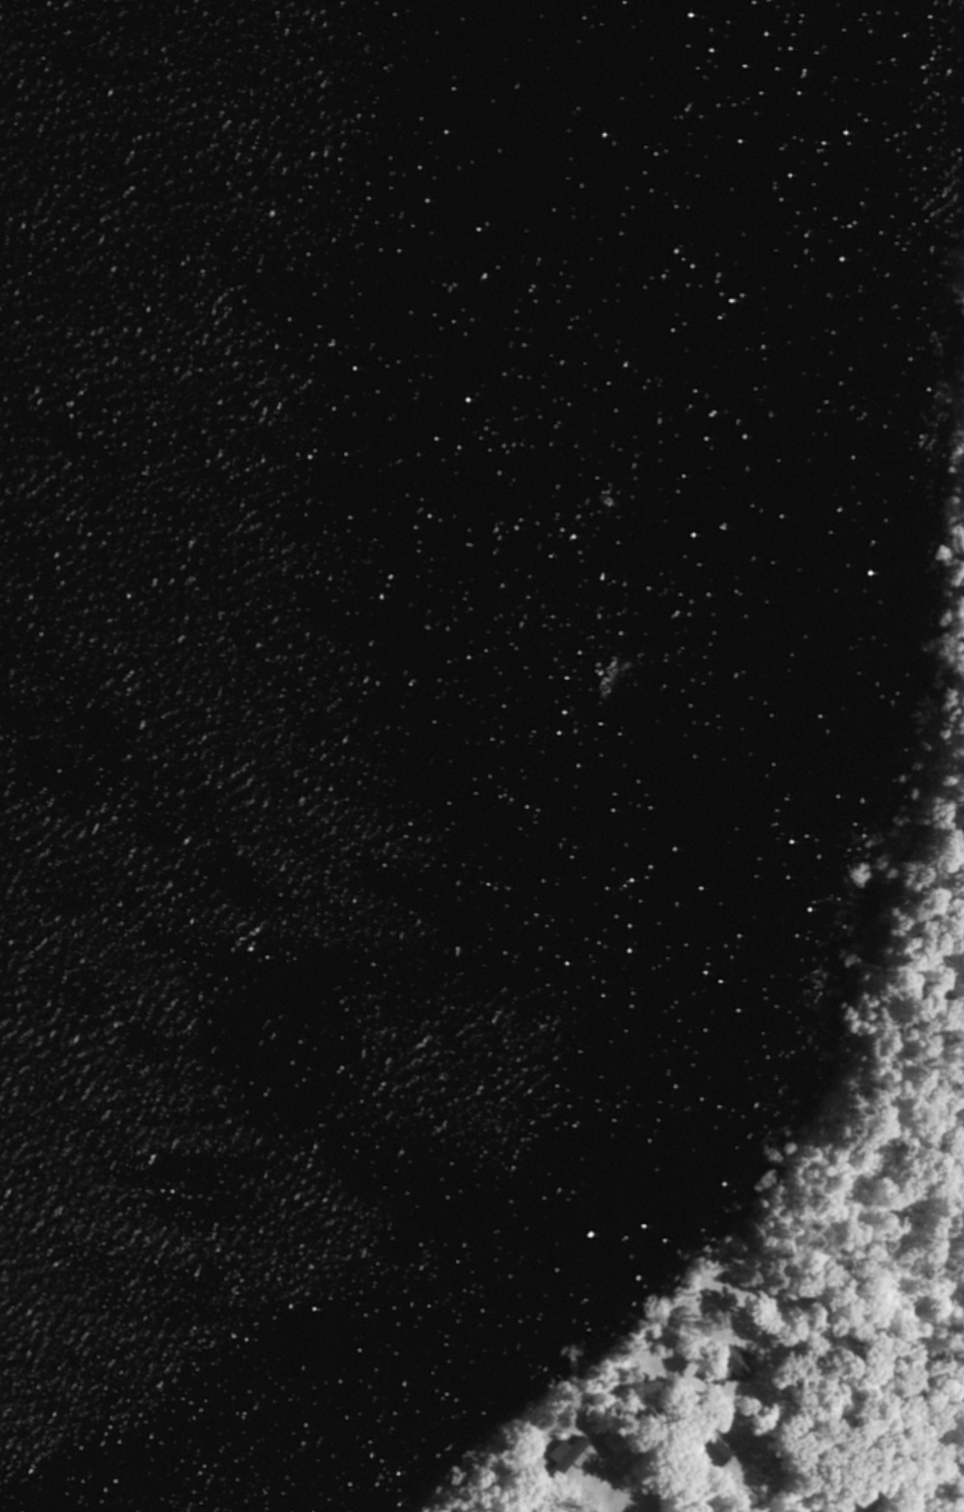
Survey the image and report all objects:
road: (876, 1287)
building: (727, 1362)
road: (787, 1397)
building: (553, 1451)
road: (916, 1452)

